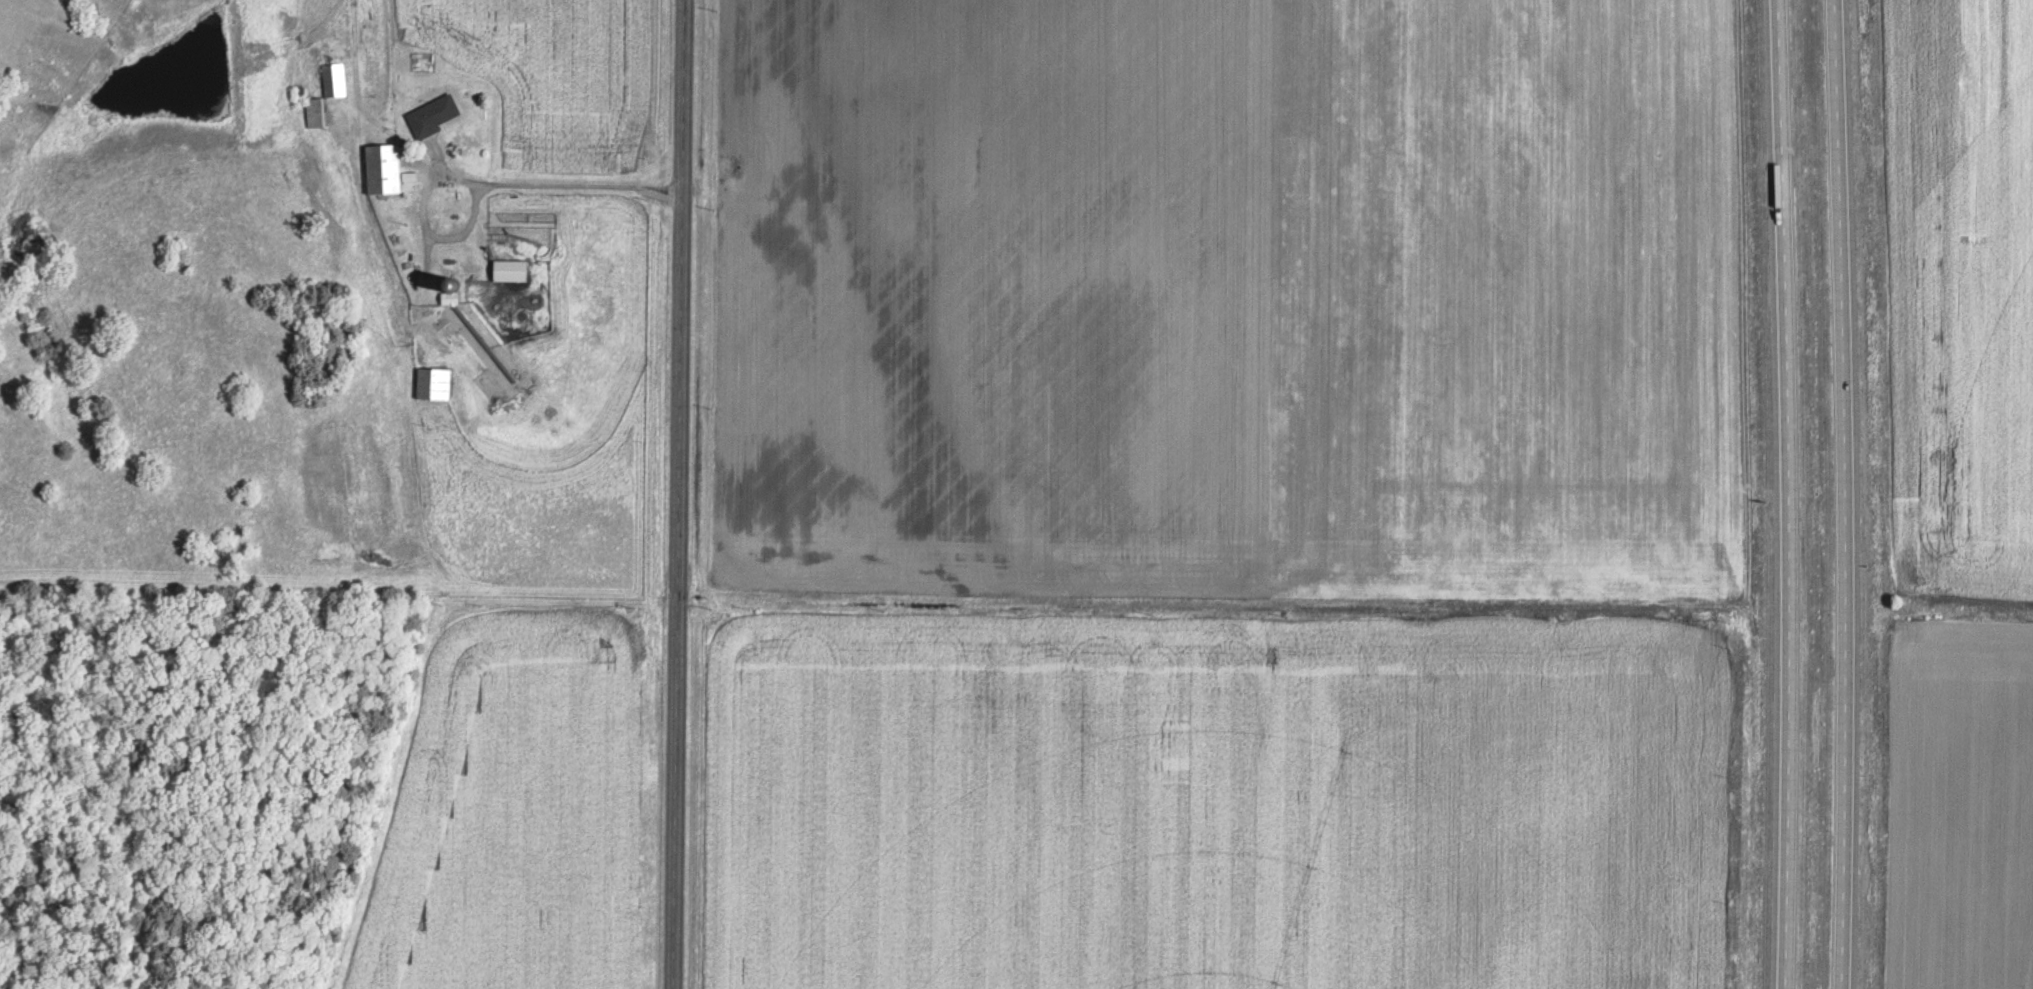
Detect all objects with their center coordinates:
building: (329, 92)
building: (435, 114)
building: (387, 168)
building: (513, 269)
building: (435, 382)
road: (679, 494)
road: (1792, 494)
road: (1842, 494)

